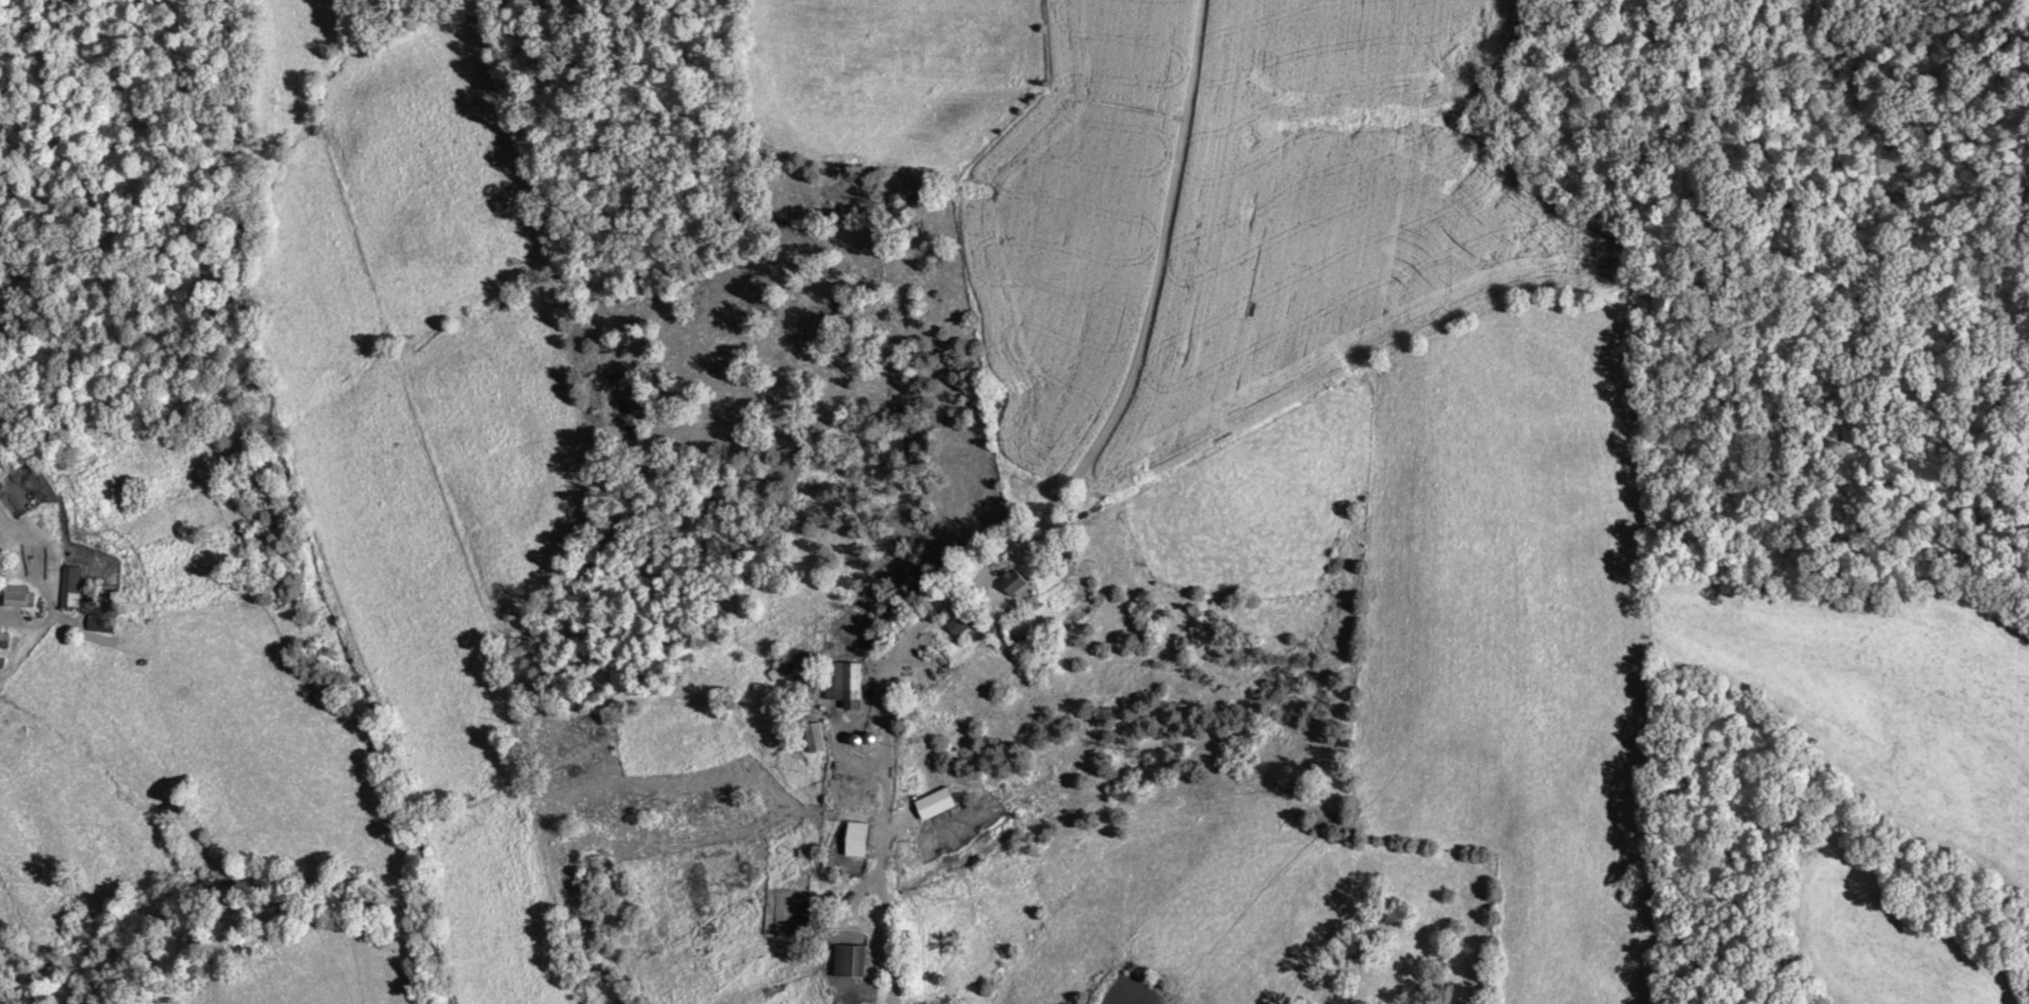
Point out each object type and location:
road: (1099, 436)
building: (5, 467)
building: (1015, 581)
building: (74, 586)
building: (17, 595)
building: (961, 621)
building: (104, 623)
building: (5, 638)
building: (844, 682)
building: (815, 736)
building: (859, 833)
building: (798, 925)
building: (851, 959)

